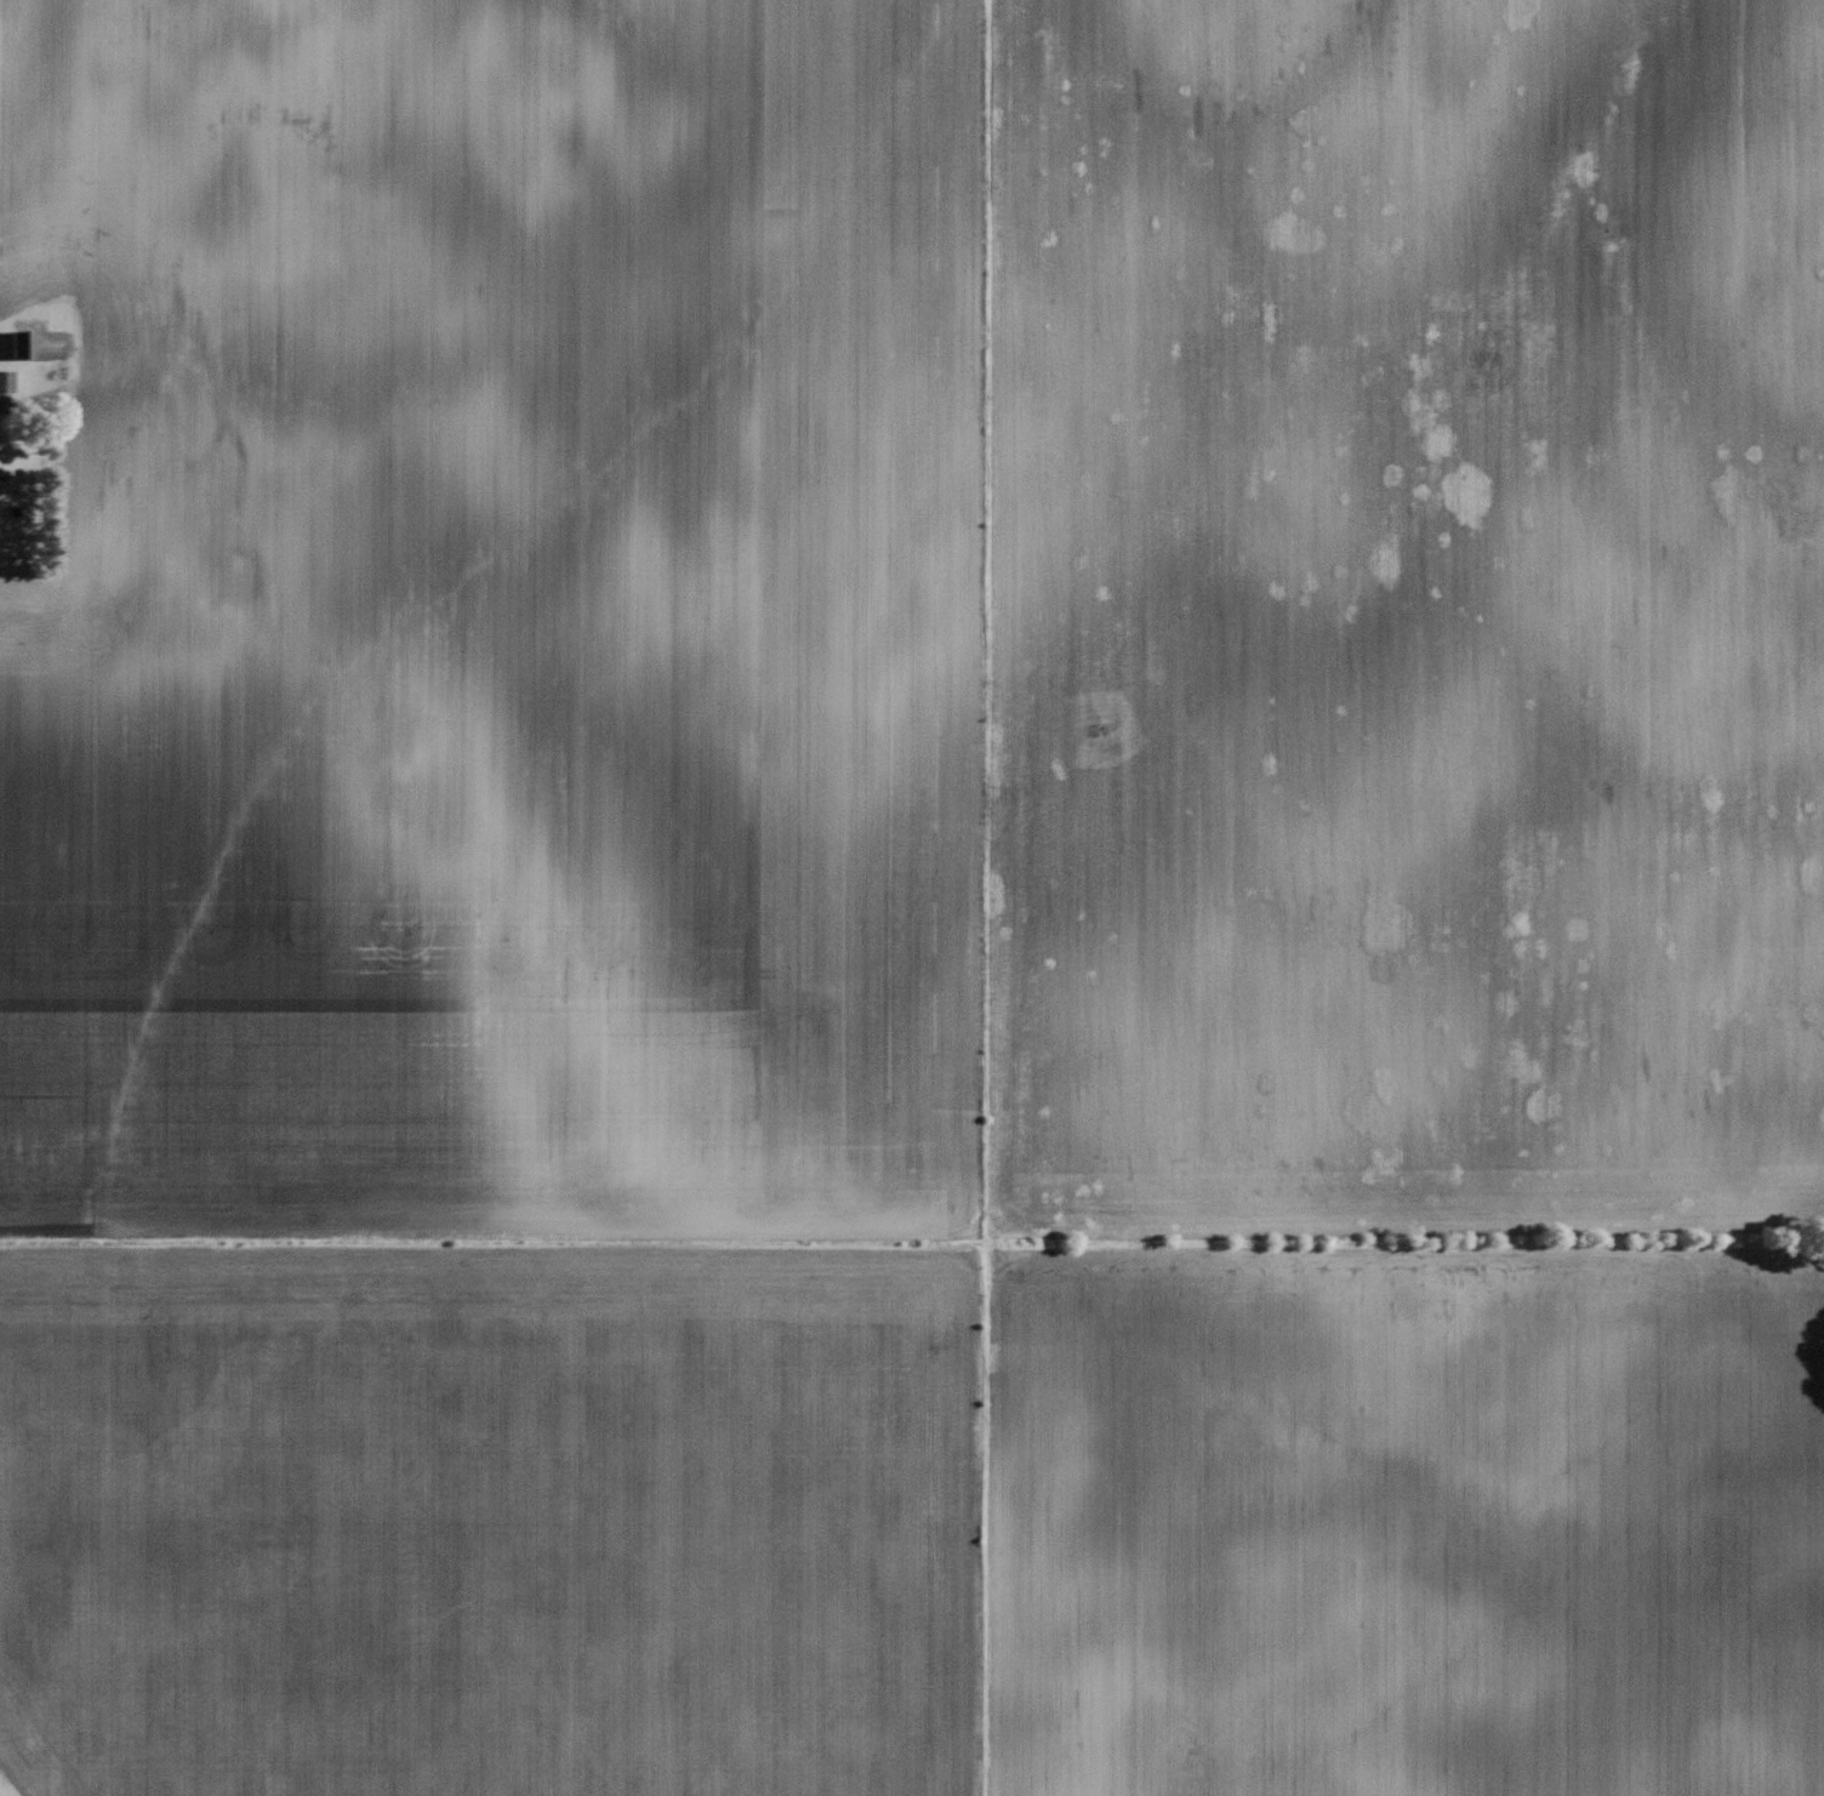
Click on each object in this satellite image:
building: (38, 343)
building: (6, 389)

